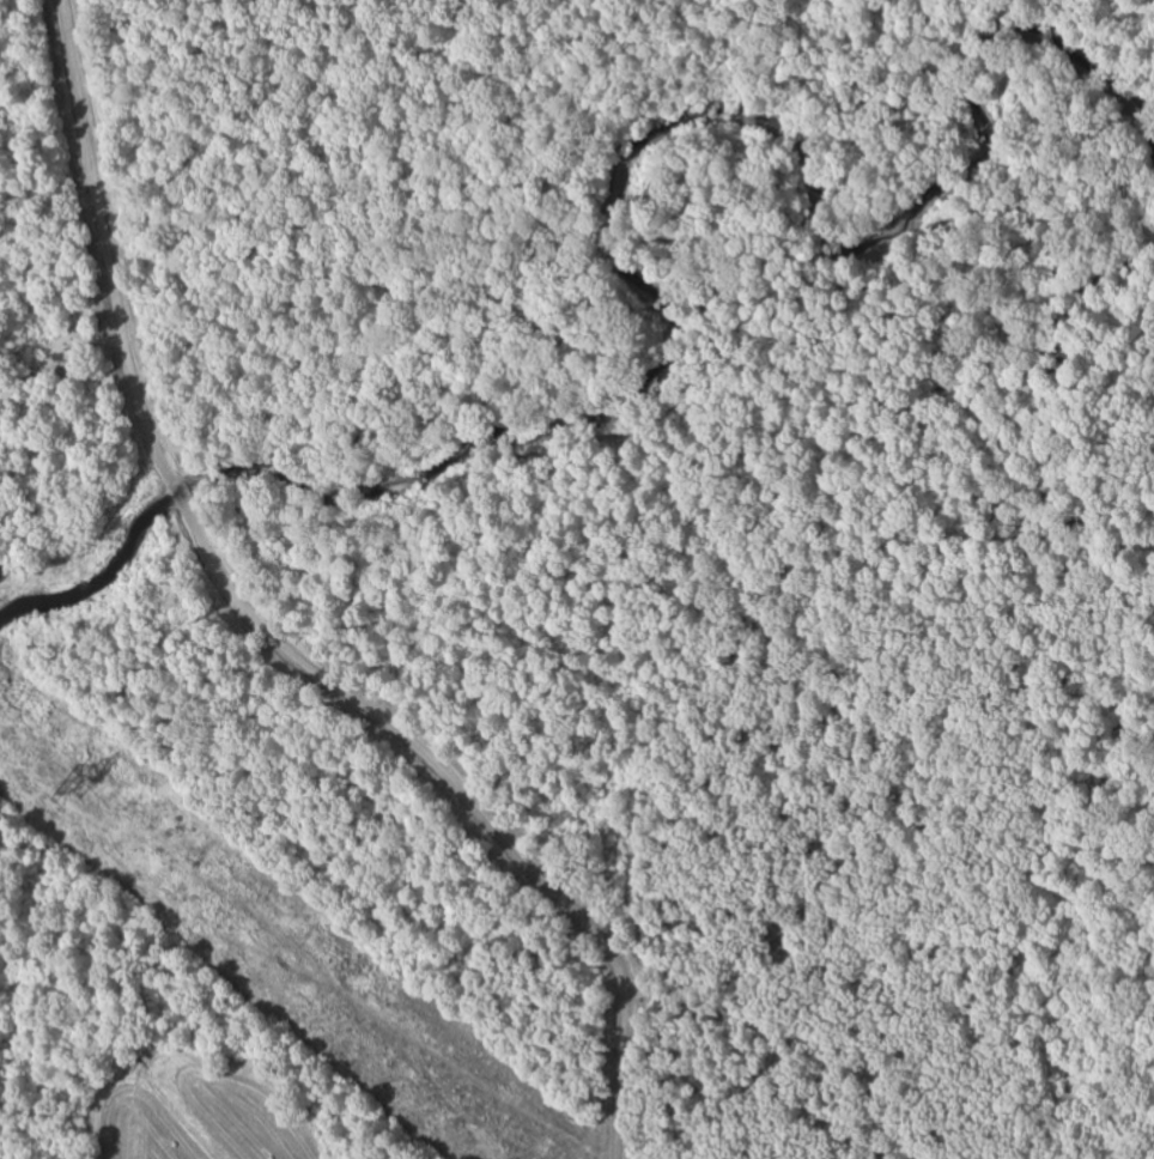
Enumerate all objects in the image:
road: (79, 86)
road: (126, 344)
power tower: (79, 787)
road: (466, 803)

